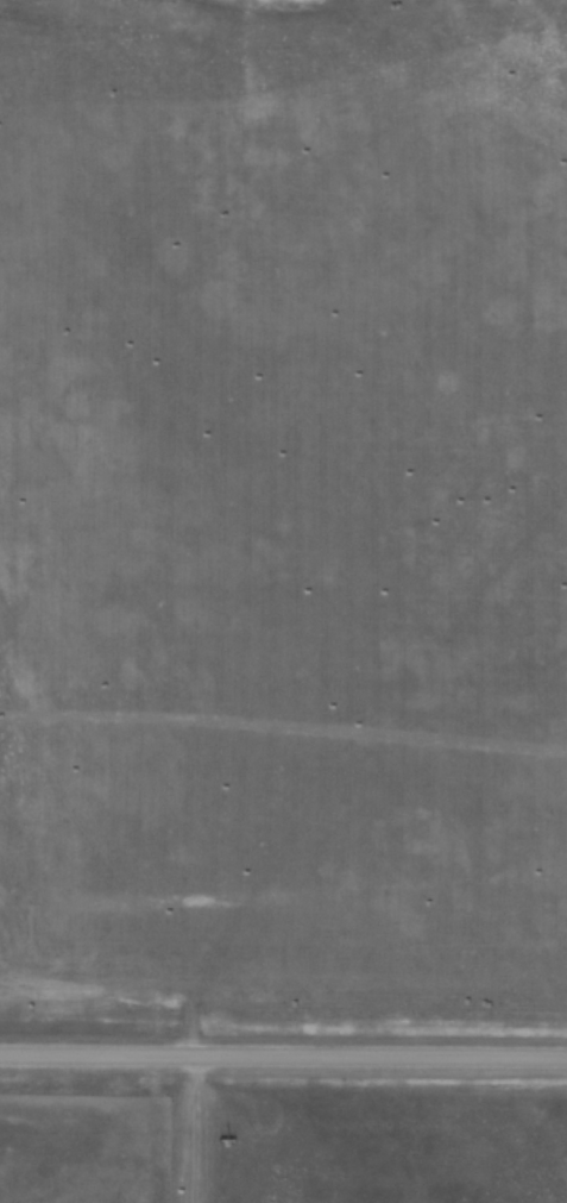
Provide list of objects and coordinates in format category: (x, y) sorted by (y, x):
road: (283, 1057)

